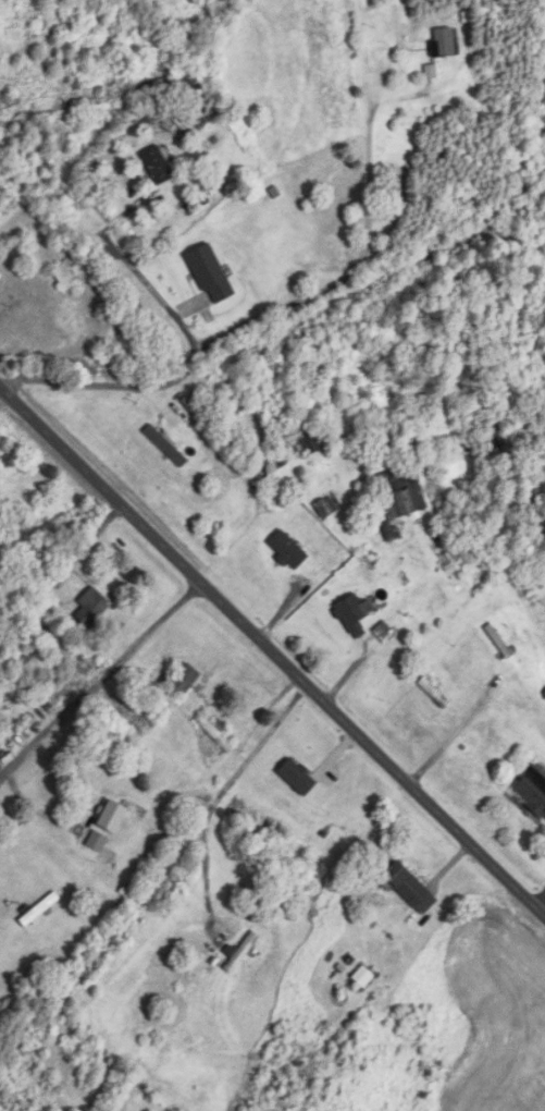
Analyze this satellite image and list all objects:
building: (444, 42)
building: (181, 80)
building: (157, 166)
building: (396, 181)
building: (67, 273)
building: (211, 274)
road: (280, 308)
building: (311, 441)
building: (267, 464)
building: (400, 498)
building: (329, 506)
road: (432, 598)
building: (92, 608)
building: (355, 613)
building: (377, 635)
building: (499, 642)
road: (271, 655)
building: (183, 680)
road: (100, 682)
building: (436, 693)
building: (216, 733)
building: (298, 777)
building: (533, 791)
road: (216, 792)
building: (113, 816)
building: (98, 841)
building: (408, 883)
building: (41, 907)
building: (240, 952)
building: (363, 976)

